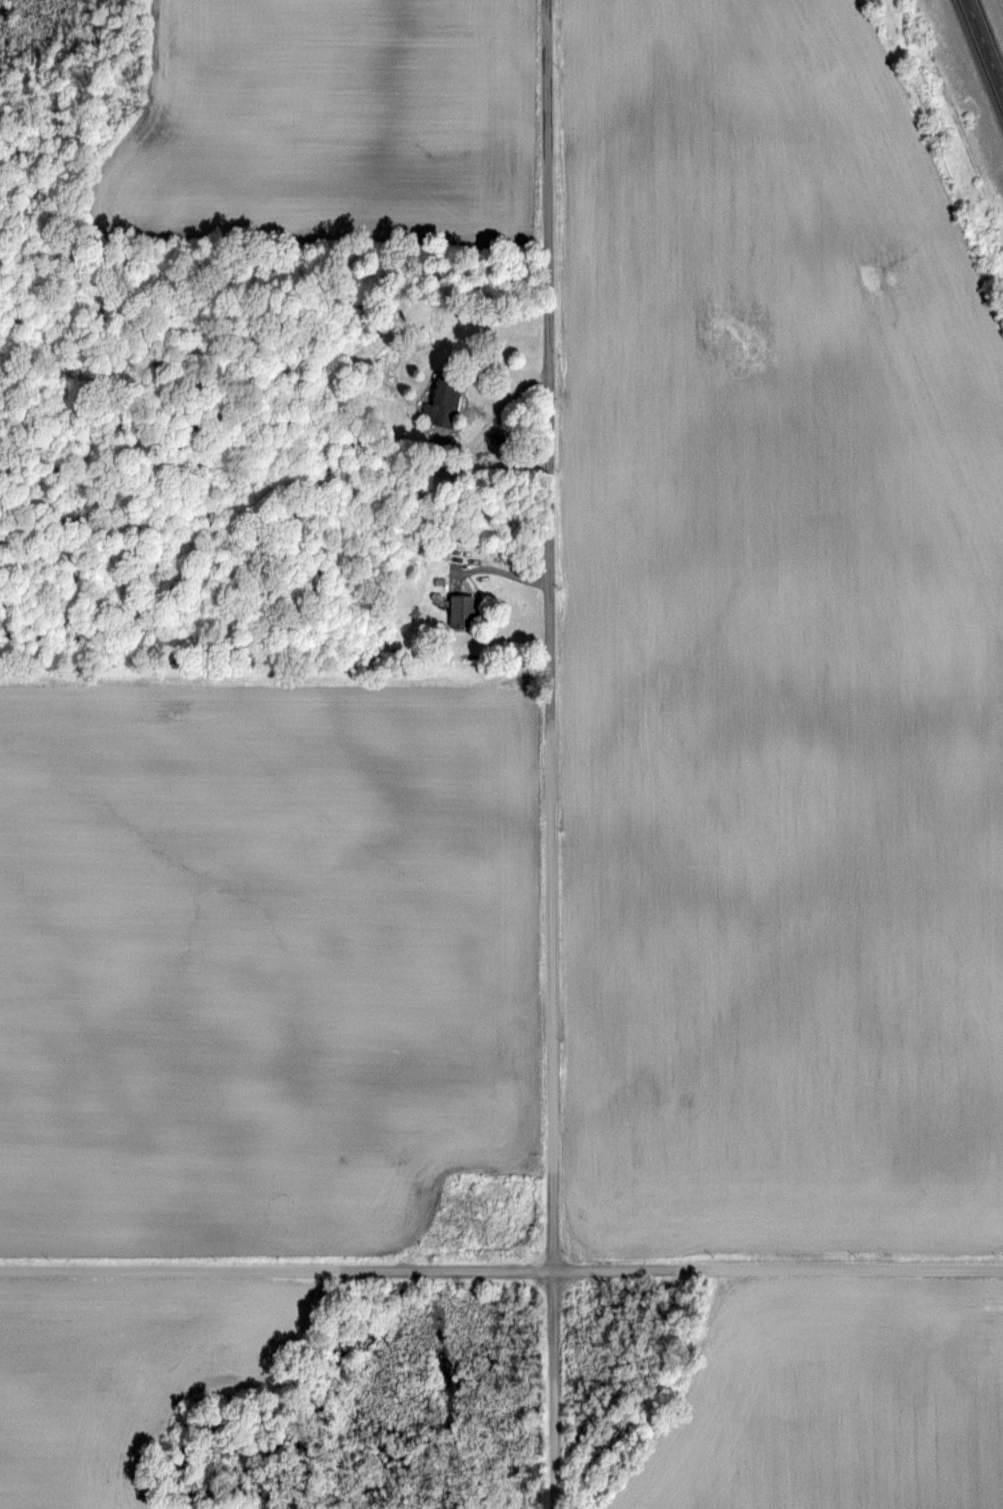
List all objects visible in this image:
road: (985, 45)
building: (440, 405)
road: (504, 411)
road: (503, 567)
building: (460, 612)
road: (553, 754)
road: (501, 1271)

